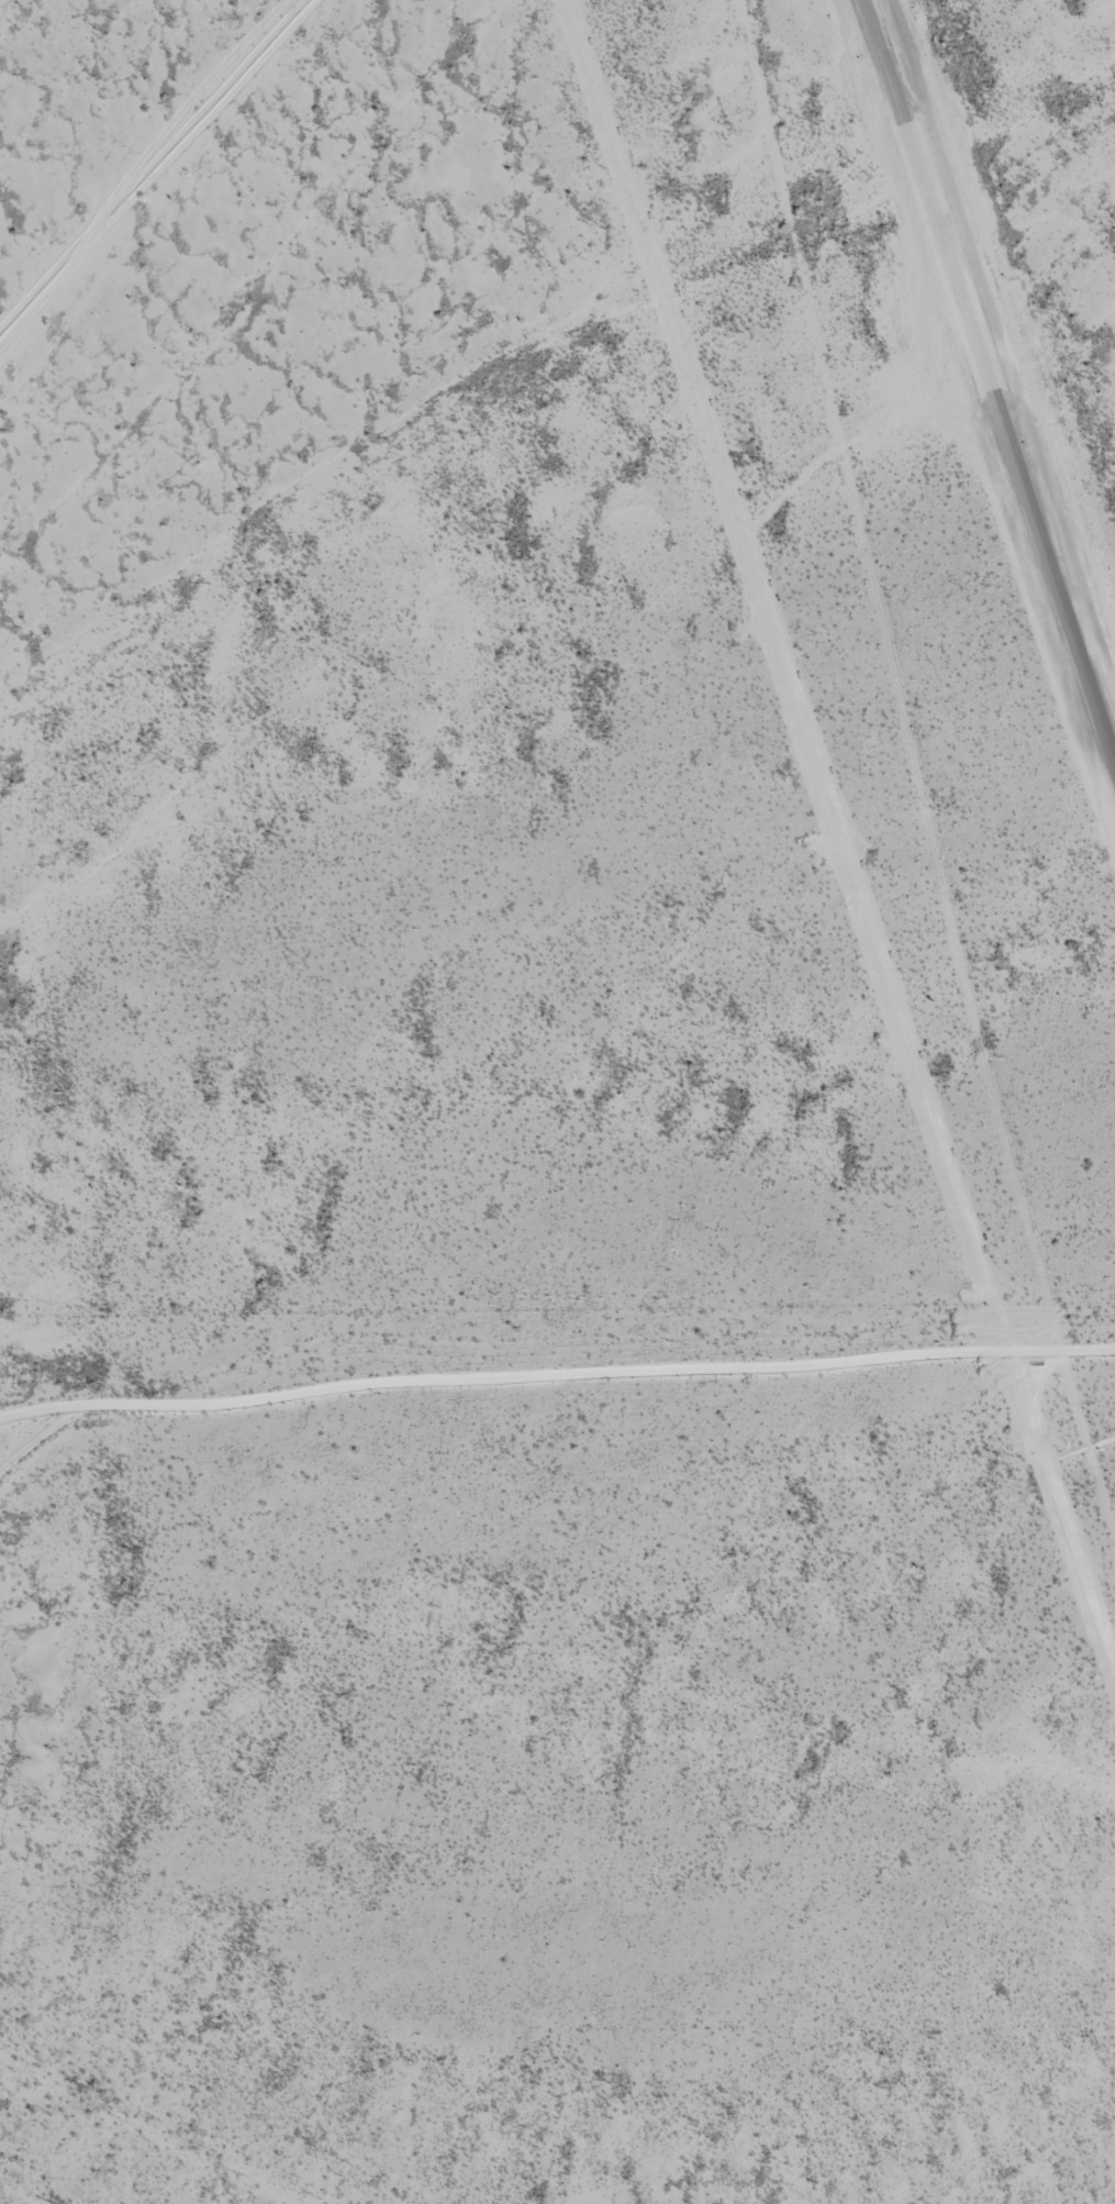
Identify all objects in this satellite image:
road: (995, 364)
road: (556, 1363)

